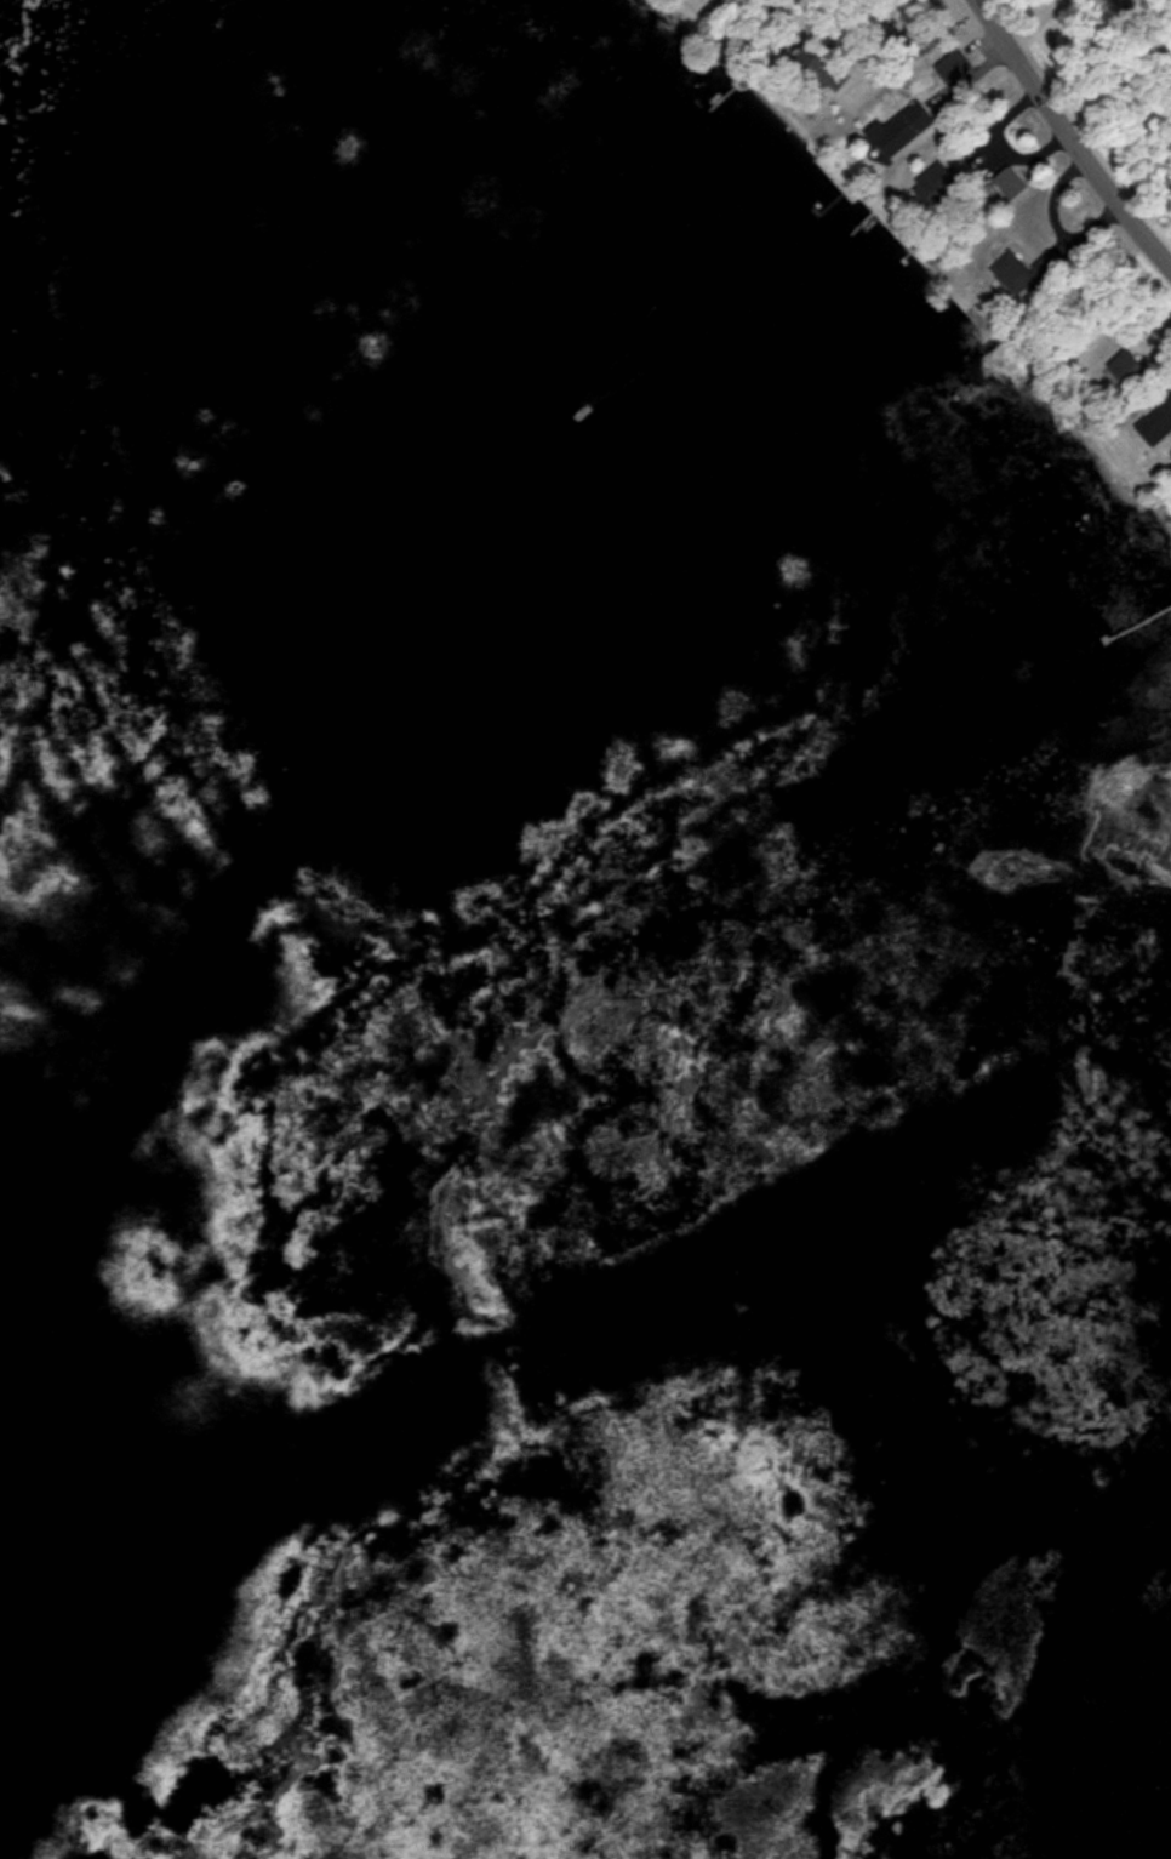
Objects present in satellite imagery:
building: (950, 65)
building: (901, 126)
road: (1074, 131)
building: (1006, 181)
building: (1012, 273)
building: (1123, 367)
building: (1155, 420)

